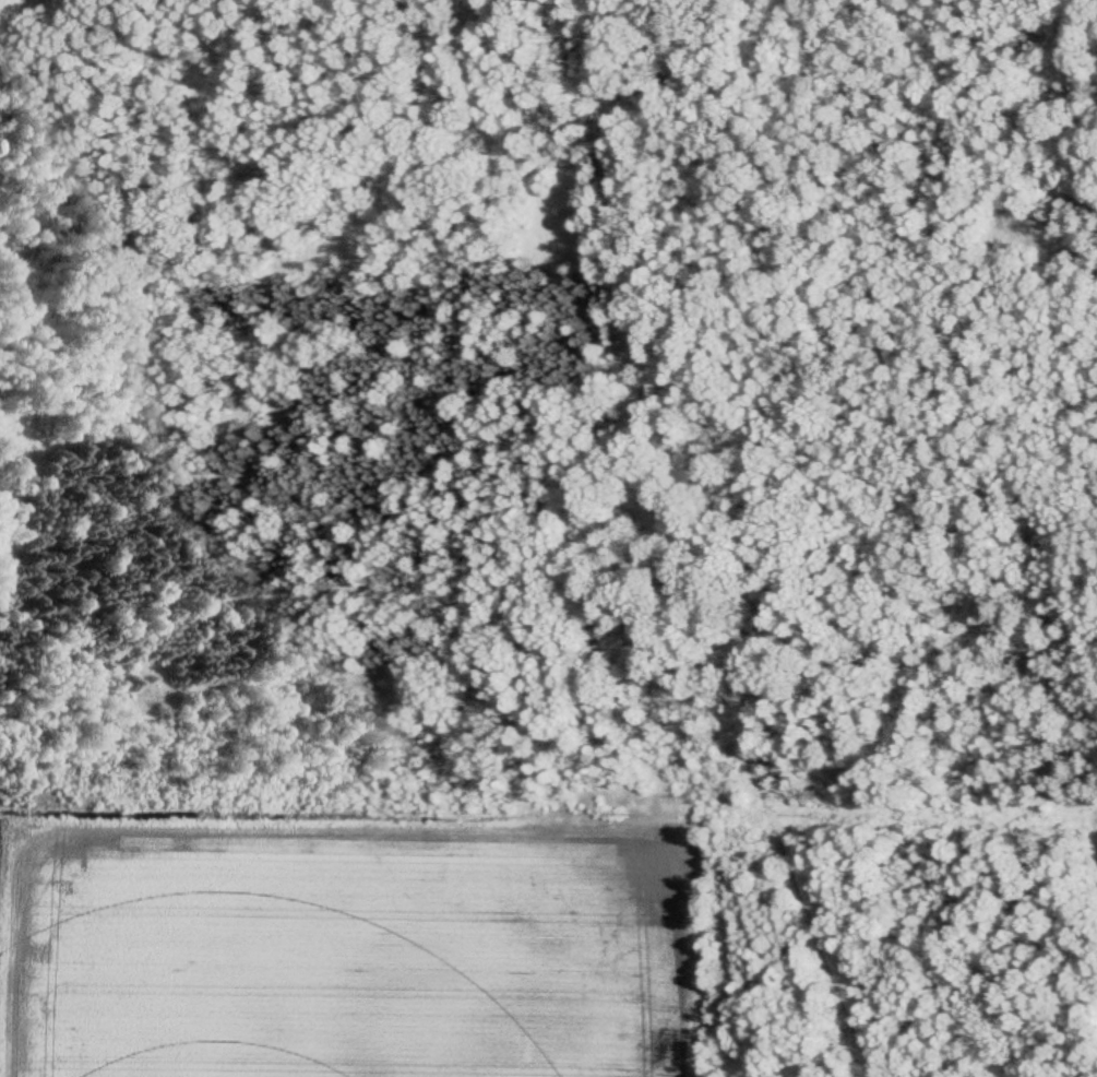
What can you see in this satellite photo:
crop: (351, 952)

